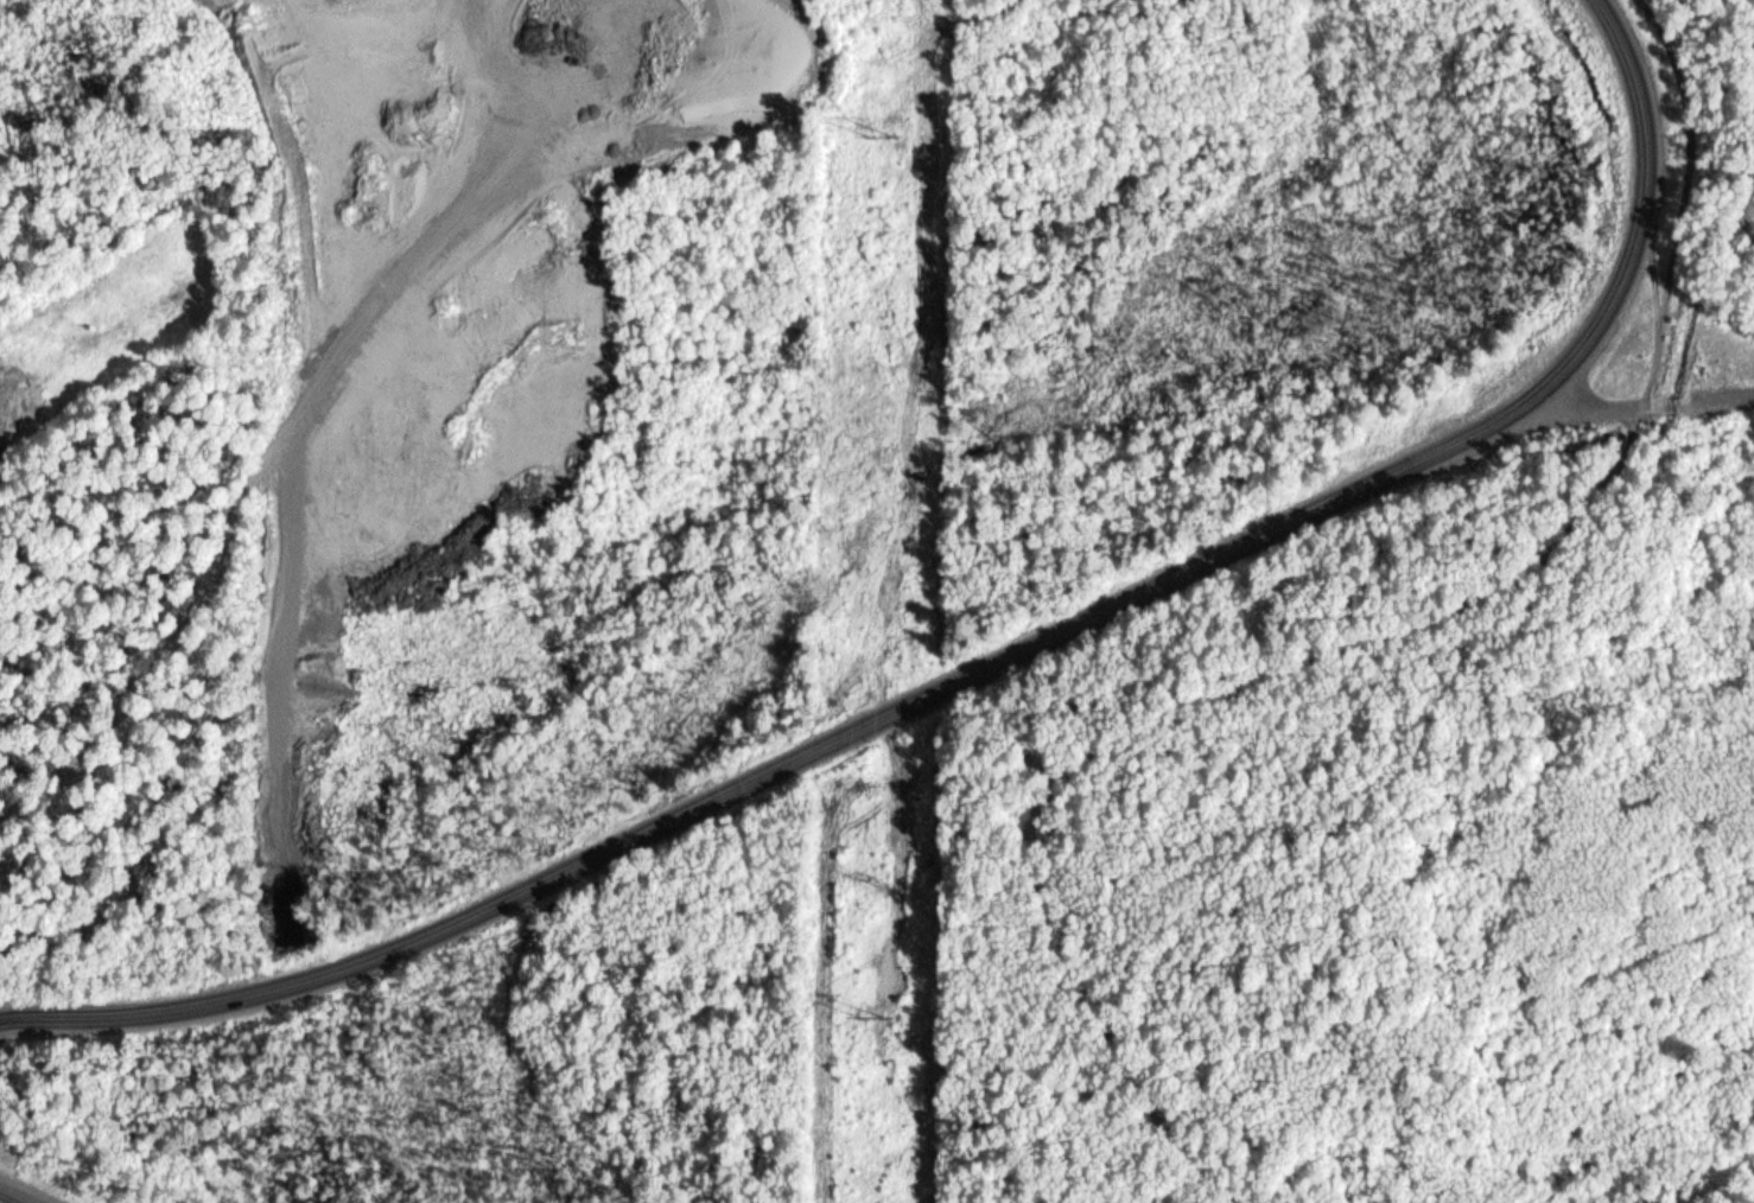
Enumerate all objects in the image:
power tower: (890, 136)
road: (1703, 395)
road: (1532, 424)
road: (980, 666)
power tower: (884, 1017)
road: (17, 1195)

